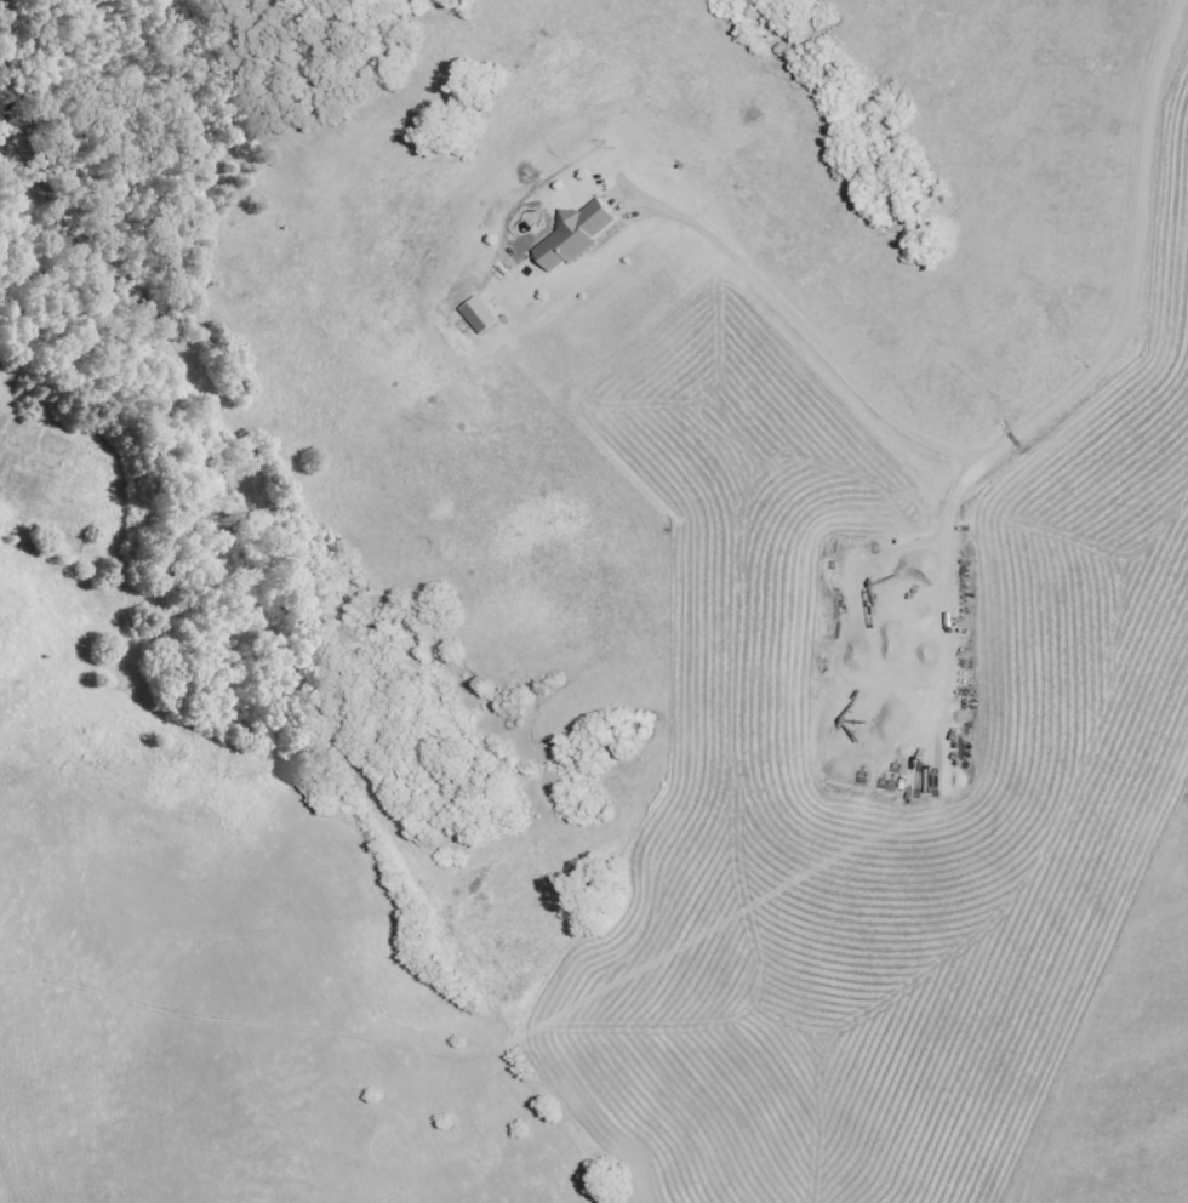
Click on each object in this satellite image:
building: (577, 233)
road: (1129, 301)
building: (482, 314)

